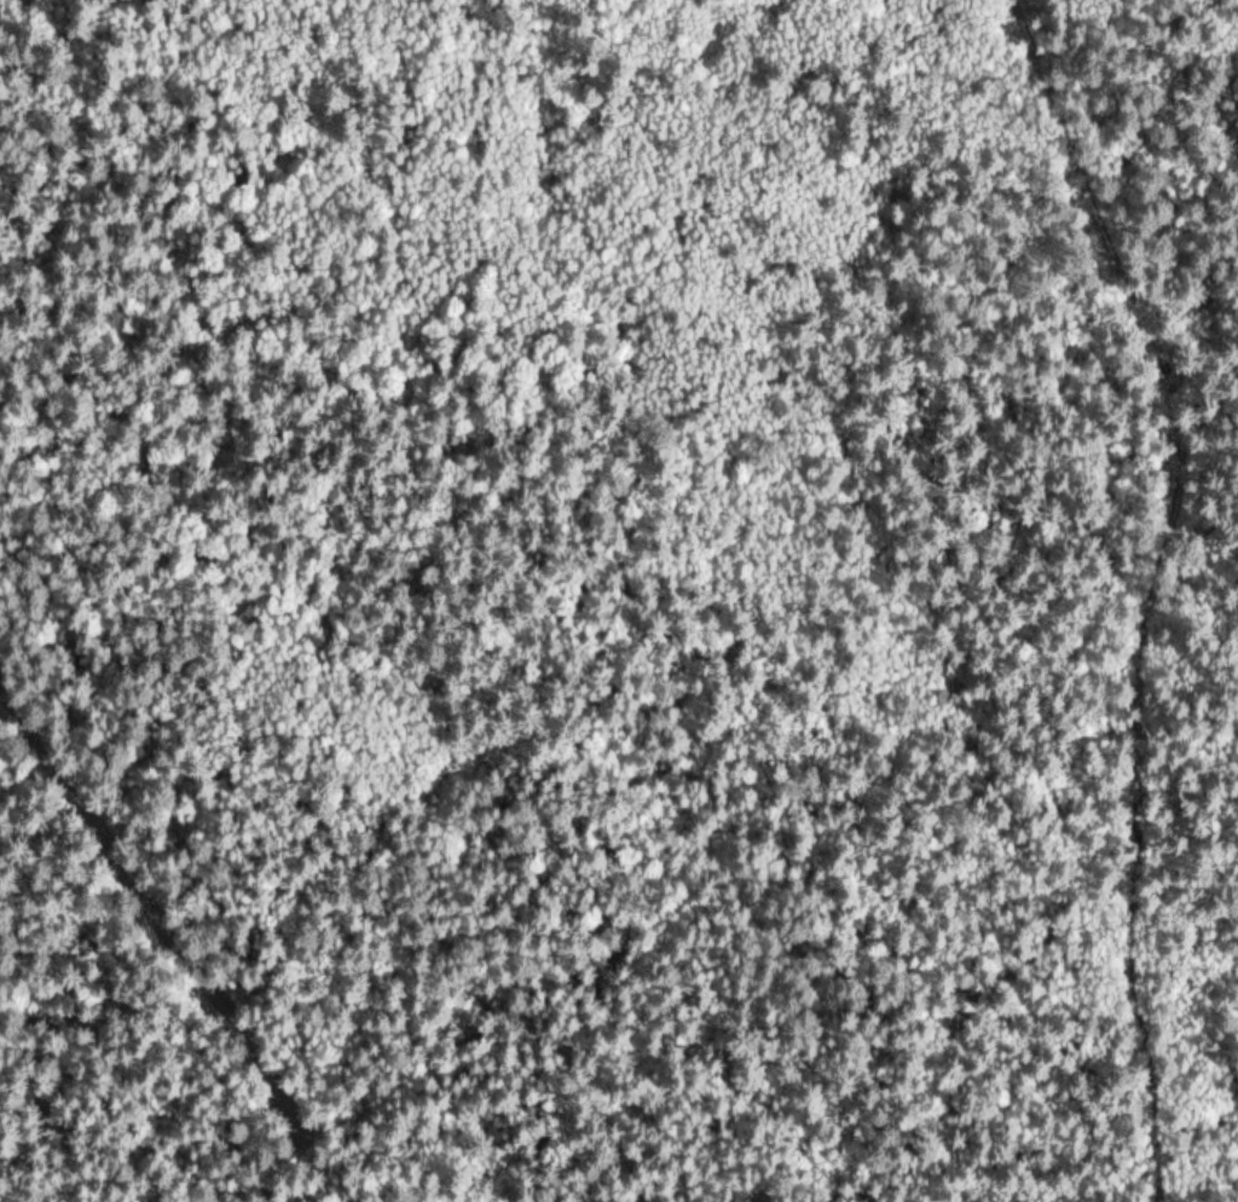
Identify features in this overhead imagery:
road: (180, 929)

